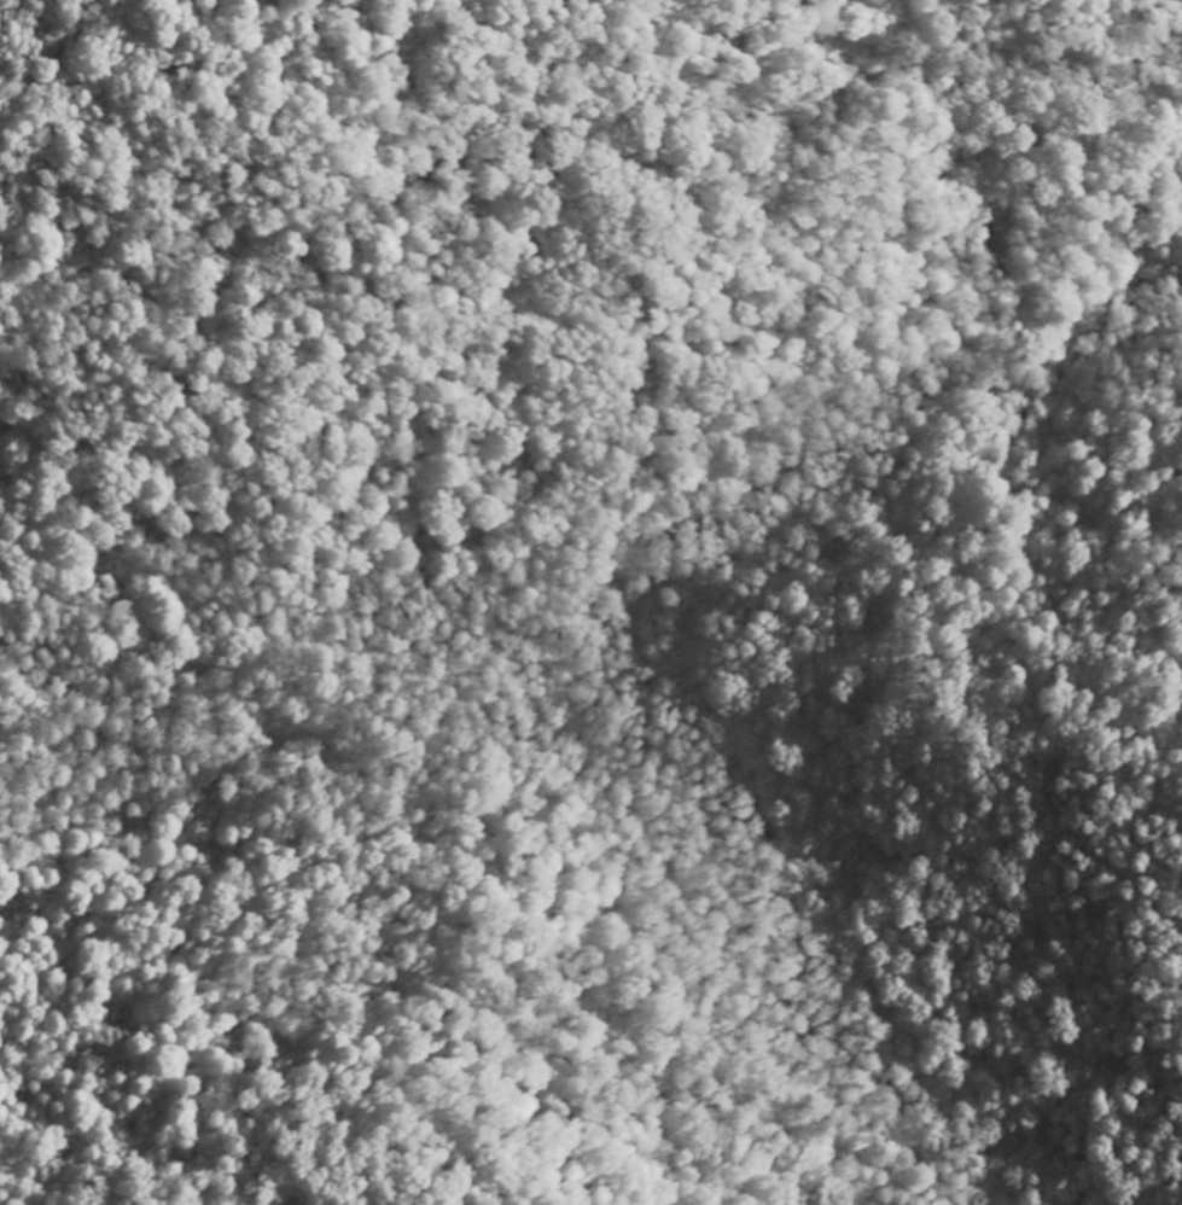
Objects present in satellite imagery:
road: (1014, 1044)

